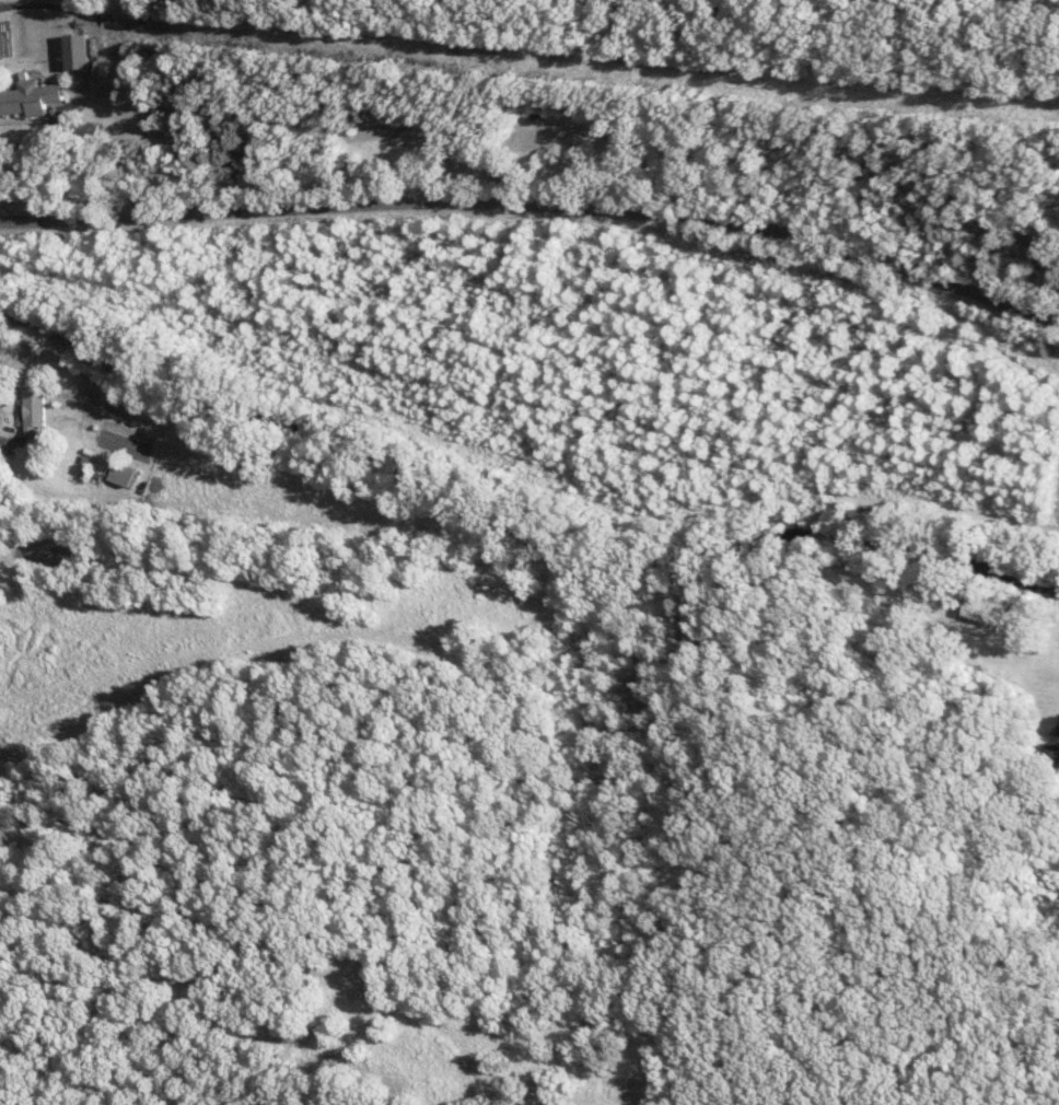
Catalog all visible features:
building: (80, 51)
building: (32, 100)
road: (88, 101)
road: (537, 207)
building: (39, 409)
building: (989, 610)
building: (1056, 726)

